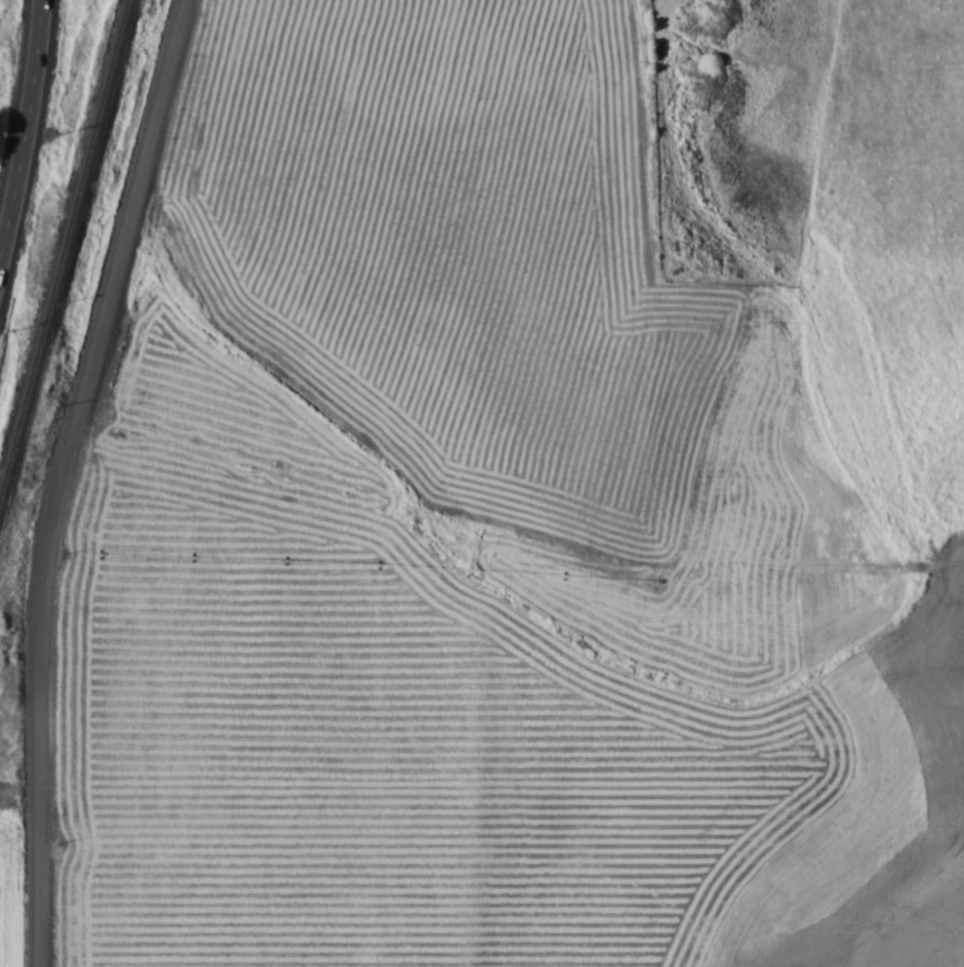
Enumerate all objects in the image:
road: (26, 128)
crop: (421, 219)
railway: (66, 256)
road: (65, 476)

